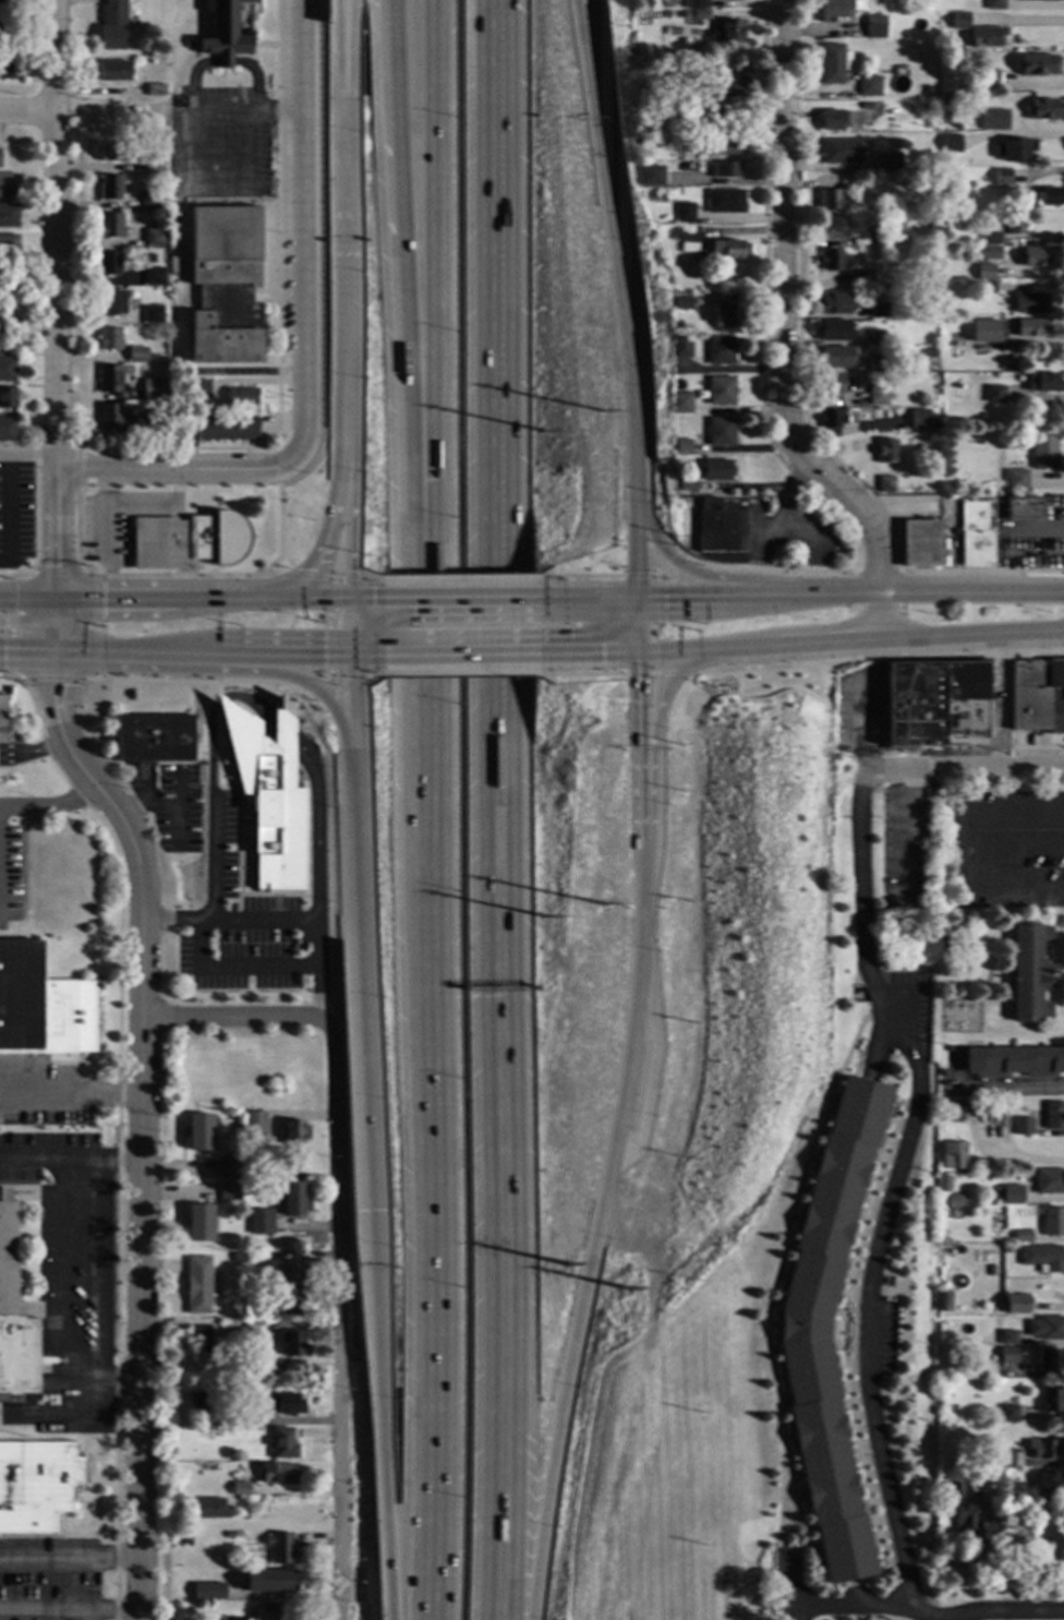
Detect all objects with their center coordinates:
building: (728, 0)
building: (1037, 0)
building: (915, 3)
building: (643, 4)
building: (696, 4)
building: (993, 4)
building: (836, 9)
road: (580, 11)
road: (581, 11)
building: (665, 14)
building: (696, 14)
building: (4, 16)
building: (958, 21)
building: (111, 25)
building: (874, 27)
building: (226, 31)
building: (728, 31)
building: (986, 37)
road: (338, 52)
road: (350, 52)
building: (5, 63)
building: (833, 63)
building: (1037, 65)
building: (112, 71)
building: (986, 79)
building: (725, 85)
building: (868, 86)
building: (155, 89)
building: (943, 99)
building: (864, 106)
road: (250, 109)
road: (28, 110)
building: (1042, 110)
building: (890, 112)
building: (698, 115)
building: (833, 120)
building: (996, 122)
building: (950, 144)
building: (723, 145)
building: (887, 148)
building: (1014, 151)
building: (110, 152)
building: (839, 152)
road: (346, 156)
building: (626, 157)
traffic signals: (602, 159)
building: (891, 160)
building: (154, 163)
building: (724, 170)
building: (649, 176)
building: (944, 176)
building: (1002, 177)
road: (216, 178)
building: (8, 185)
building: (109, 188)
building: (1048, 196)
building: (147, 200)
building: (827, 201)
building: (724, 202)
building: (874, 205)
building: (682, 213)
building: (8, 215)
building: (1014, 225)
building: (109, 226)
building: (832, 228)
road: (305, 230)
road: (57, 233)
building: (655, 233)
building: (876, 236)
building: (153, 238)
building: (685, 238)
building: (990, 240)
building: (9, 247)
building: (726, 250)
road: (615, 254)
building: (983, 254)
building: (1039, 257)
building: (830, 261)
building: (108, 263)
building: (983, 273)
building: (154, 277)
road: (403, 277)
road: (435, 277)
building: (862, 280)
building: (225, 285)
building: (941, 285)
building: (983, 287)
road: (346, 288)
road: (278, 289)
building: (112, 302)
building: (680, 303)
building: (831, 304)
building: (1030, 304)
building: (878, 310)
road: (781, 312)
building: (152, 314)
building: (726, 315)
building: (1030, 327)
building: (833, 331)
building: (7, 333)
building: (990, 335)
building: (109, 338)
building: (874, 338)
building: (679, 347)
building: (718, 350)
building: (136, 353)
building: (833, 357)
building: (875, 363)
building: (7, 370)
road: (728, 370)
building: (109, 379)
building: (1042, 382)
building: (827, 384)
building: (150, 388)
building: (201, 388)
building: (718, 391)
building: (993, 394)
building: (876, 395)
building: (7, 398)
building: (241, 398)
building: (680, 403)
power tower: (600, 410)
building: (113, 418)
building: (831, 419)
building: (919, 420)
building: (148, 421)
building: (933, 424)
building: (216, 429)
building: (7, 430)
power tower: (543, 431)
building: (720, 432)
building: (681, 446)
road: (27, 451)
building: (885, 452)
building: (1043, 453)
road: (177, 469)
building: (715, 470)
building: (1015, 480)
road: (351, 481)
building: (884, 484)
building: (687, 485)
road: (336, 487)
building: (935, 487)
road: (5, 505)
building: (1021, 508)
road: (781, 513)
building: (718, 527)
road: (57, 533)
building: (975, 537)
building: (188, 541)
road: (637, 543)
building: (918, 543)
road: (675, 562)
traffic signals: (58, 567)
road: (58, 572)
road: (20, 575)
road: (177, 575)
road: (300, 576)
road: (587, 577)
road: (460, 578)
road: (363, 579)
road: (815, 591)
road: (972, 592)
road: (322, 597)
traffic signals: (351, 597)
road: (360, 597)
road: (461, 597)
road: (694, 597)
road: (235, 598)
road: (595, 598)
road: (118, 599)
traffic signals: (638, 599)
road: (28, 600)
traffic signals: (102, 600)
road: (880, 615)
road: (33, 622)
road: (12, 625)
road: (351, 625)
road: (637, 625)
road: (57, 626)
road: (328, 633)
road: (971, 635)
road: (826, 643)
traffic signals: (3, 651)
road: (27, 651)
road: (594, 652)
traffic signals: (637, 652)
road: (705, 652)
road: (135, 653)
road: (282, 653)
road: (461, 653)
traffic signals: (352, 655)
road: (361, 655)
road: (96, 665)
road: (16, 677)
road: (204, 682)
road: (302, 684)
traffic signals: (57, 686)
road: (317, 686)
building: (1036, 696)
road: (219, 700)
road: (250, 703)
building: (932, 704)
road: (354, 708)
building: (2, 718)
road: (282, 731)
building: (153, 739)
road: (653, 744)
road: (209, 748)
road: (638, 751)
road: (33, 753)
road: (963, 770)
road: (235, 787)
building: (269, 795)
road: (50, 806)
road: (500, 809)
road: (989, 813)
road: (315, 826)
parking lot: (11, 861)
road: (962, 873)
power tower: (602, 904)
power tower: (545, 917)
road: (286, 919)
road: (173, 921)
road: (197, 967)
building: (1029, 972)
road: (362, 986)
building: (945, 1006)
building: (43, 1007)
road: (238, 1018)
building: (1014, 1063)
building: (940, 1064)
road: (432, 1087)
road: (1007, 1087)
road: (71, 1091)
building: (951, 1113)
building: (1029, 1113)
building: (1053, 1116)
building: (253, 1124)
road: (142, 1125)
building: (1021, 1127)
building: (198, 1131)
building: (293, 1132)
building: (953, 1155)
road: (29, 1161)
building: (245, 1165)
building: (229, 1167)
building: (1049, 1181)
building: (942, 1183)
building: (228, 1191)
building: (1007, 1196)
building: (293, 1200)
traffic signals: (372, 1211)
building: (198, 1222)
building: (259, 1222)
building: (1052, 1222)
road: (593, 1236)
building: (1021, 1236)
building: (1006, 1250)
building: (238, 1257)
road: (874, 1258)
building: (1042, 1258)
road: (61, 1262)
power tower: (568, 1265)
road: (106, 1270)
building: (990, 1271)
building: (287, 1285)
building: (197, 1286)
power tower: (629, 1289)
building: (215, 1296)
building: (942, 1303)
building: (1013, 1305)
building: (13, 1319)
road: (337, 1322)
building: (1045, 1329)
building: (801, 1330)
building: (196, 1333)
building: (1006, 1337)
building: (291, 1344)
building: (205, 1346)
building: (1005, 1356)
building: (1044, 1359)
building: (201, 1401)
building: (1050, 1401)
building: (287, 1404)
building: (1005, 1414)
road: (379, 1415)
building: (215, 1432)
building: (281, 1443)
building: (1044, 1449)
building: (1001, 1459)
building: (277, 1474)
building: (1049, 1483)
building: (36, 1485)
building: (239, 1489)
building: (1013, 1492)
building: (208, 1508)
building: (968, 1520)
building: (279, 1548)
building: (238, 1558)
road: (70, 1560)
building: (208, 1580)
building: (268, 1582)
building: (207, 1592)
road: (850, 1607)
road: (70, 1611)
building: (274, 1611)
building: (238, 1619)

